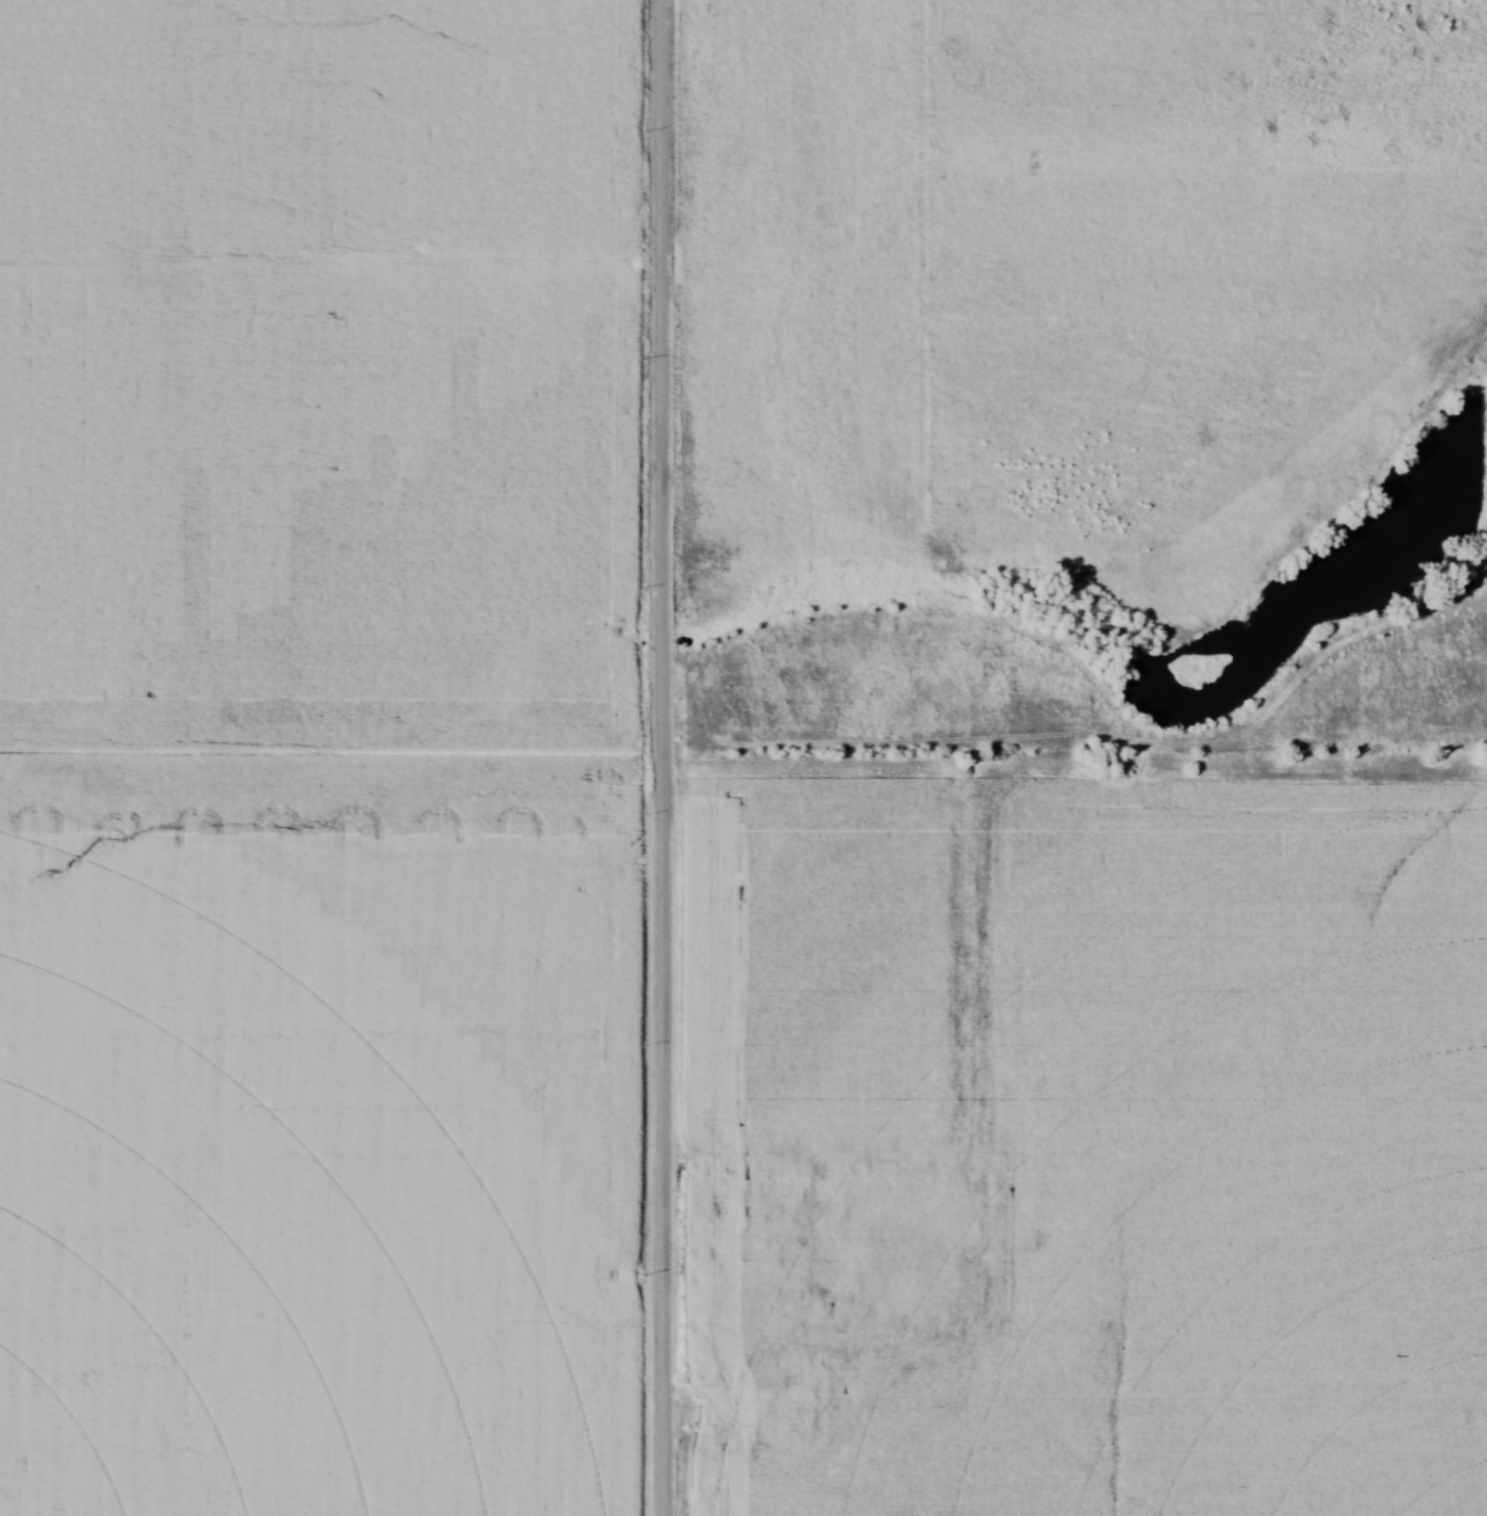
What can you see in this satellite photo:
road: (663, 758)
building: (806, 1205)
building: (750, 1208)
building: (837, 1309)
building: (723, 1369)

